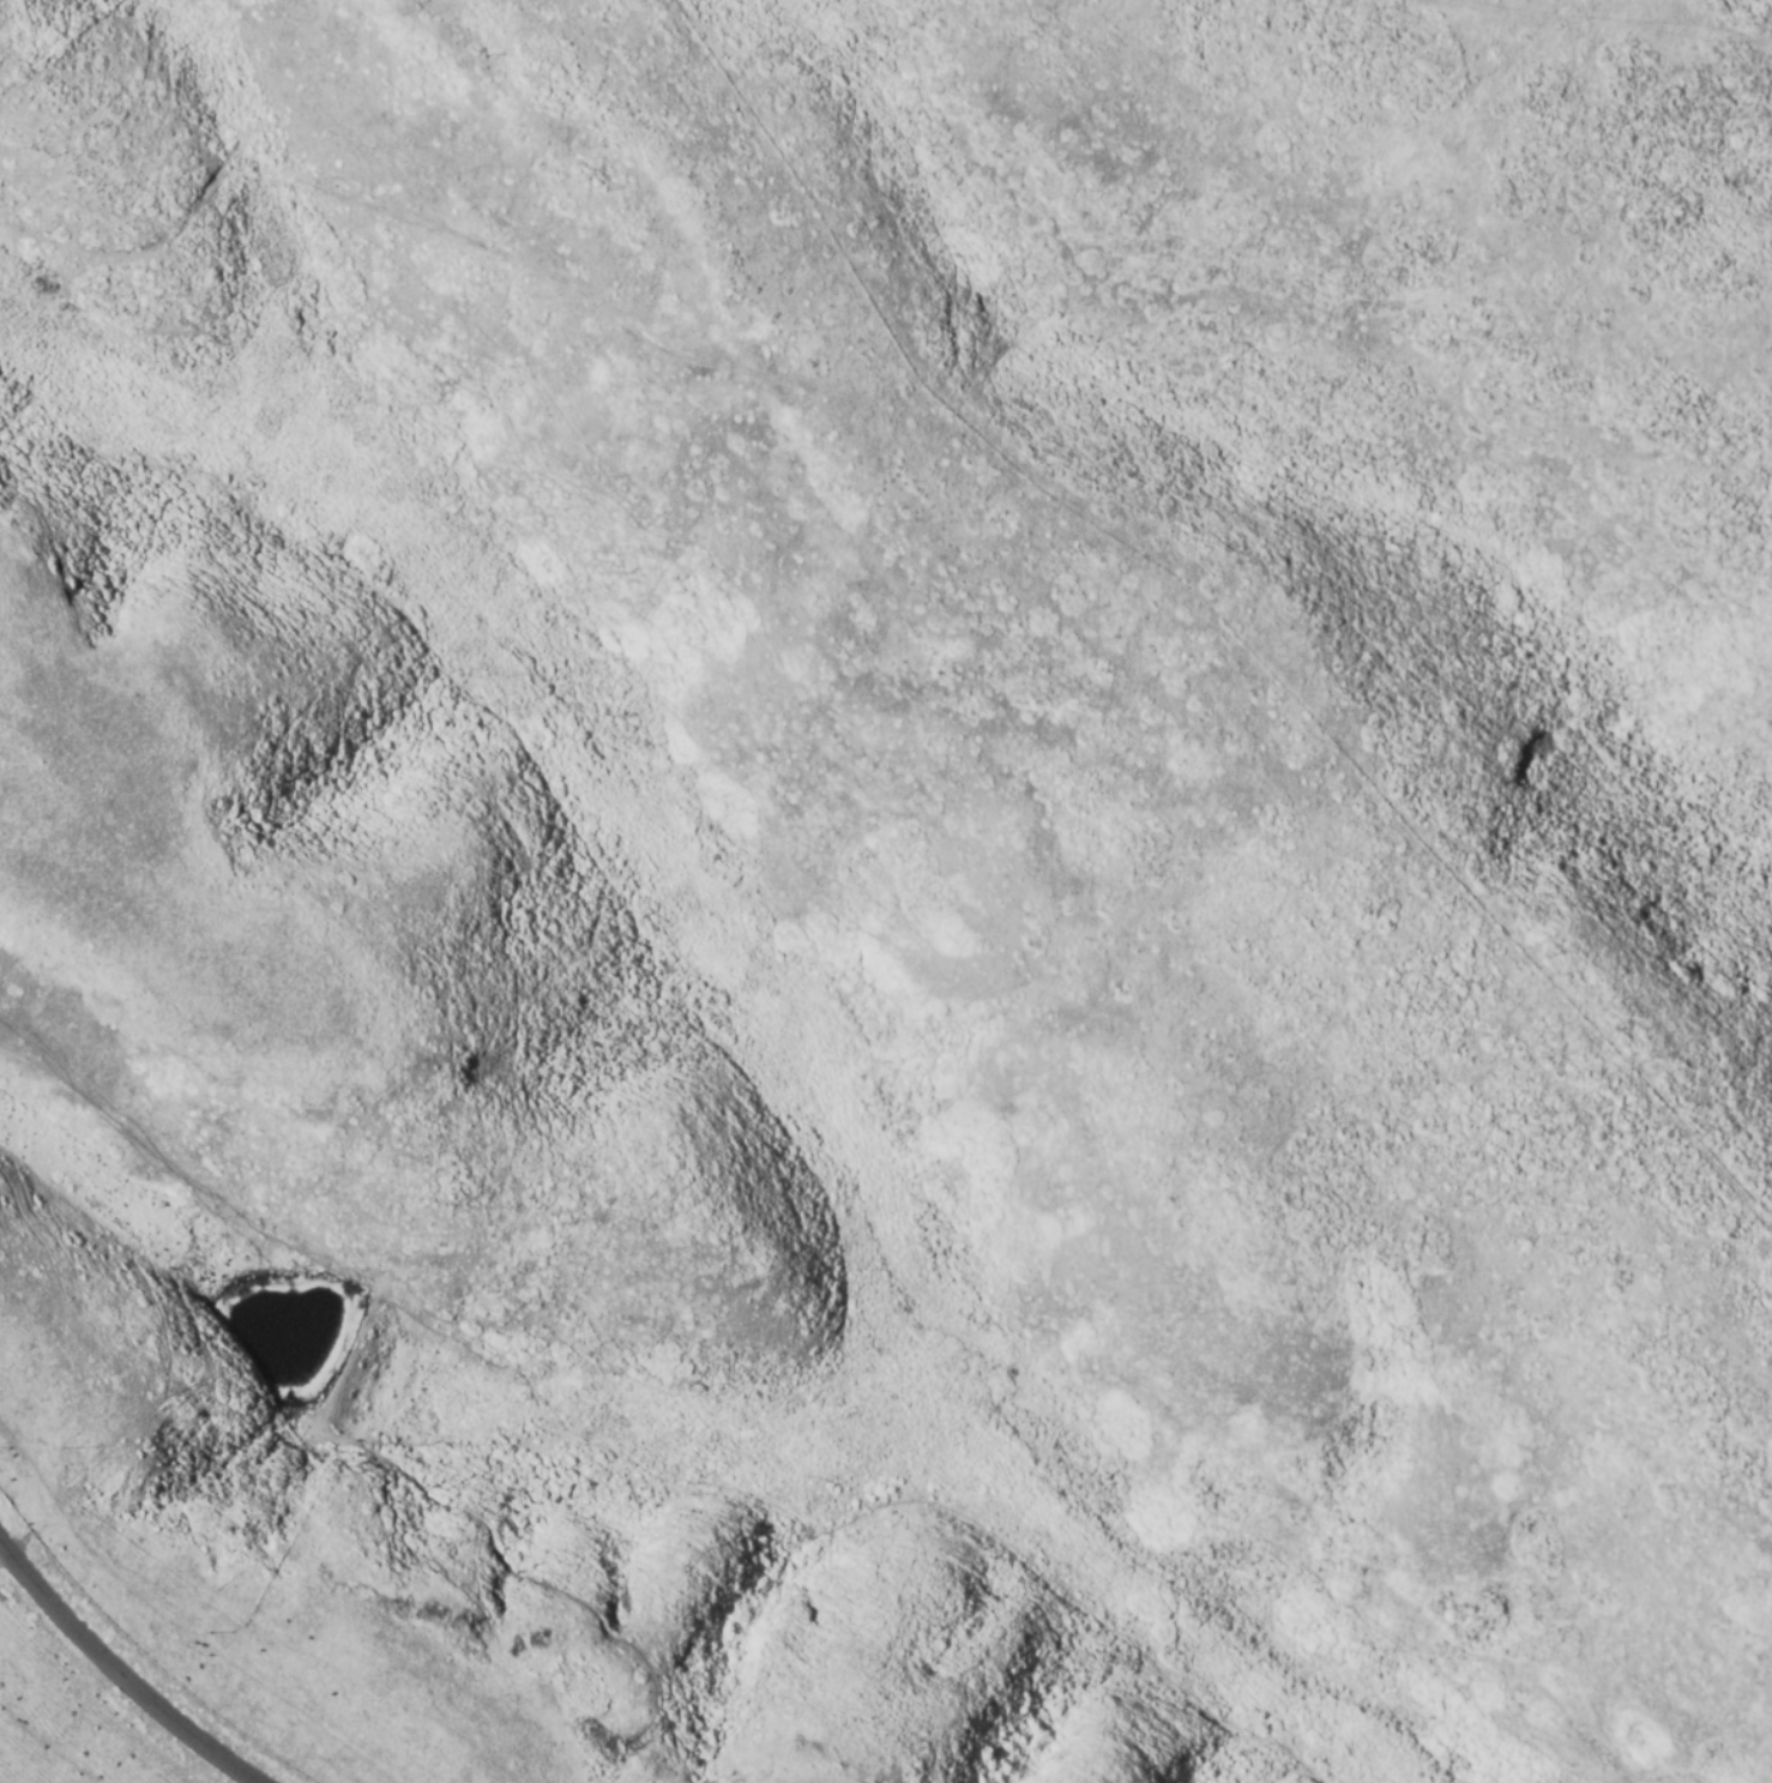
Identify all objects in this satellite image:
road: (119, 1671)

